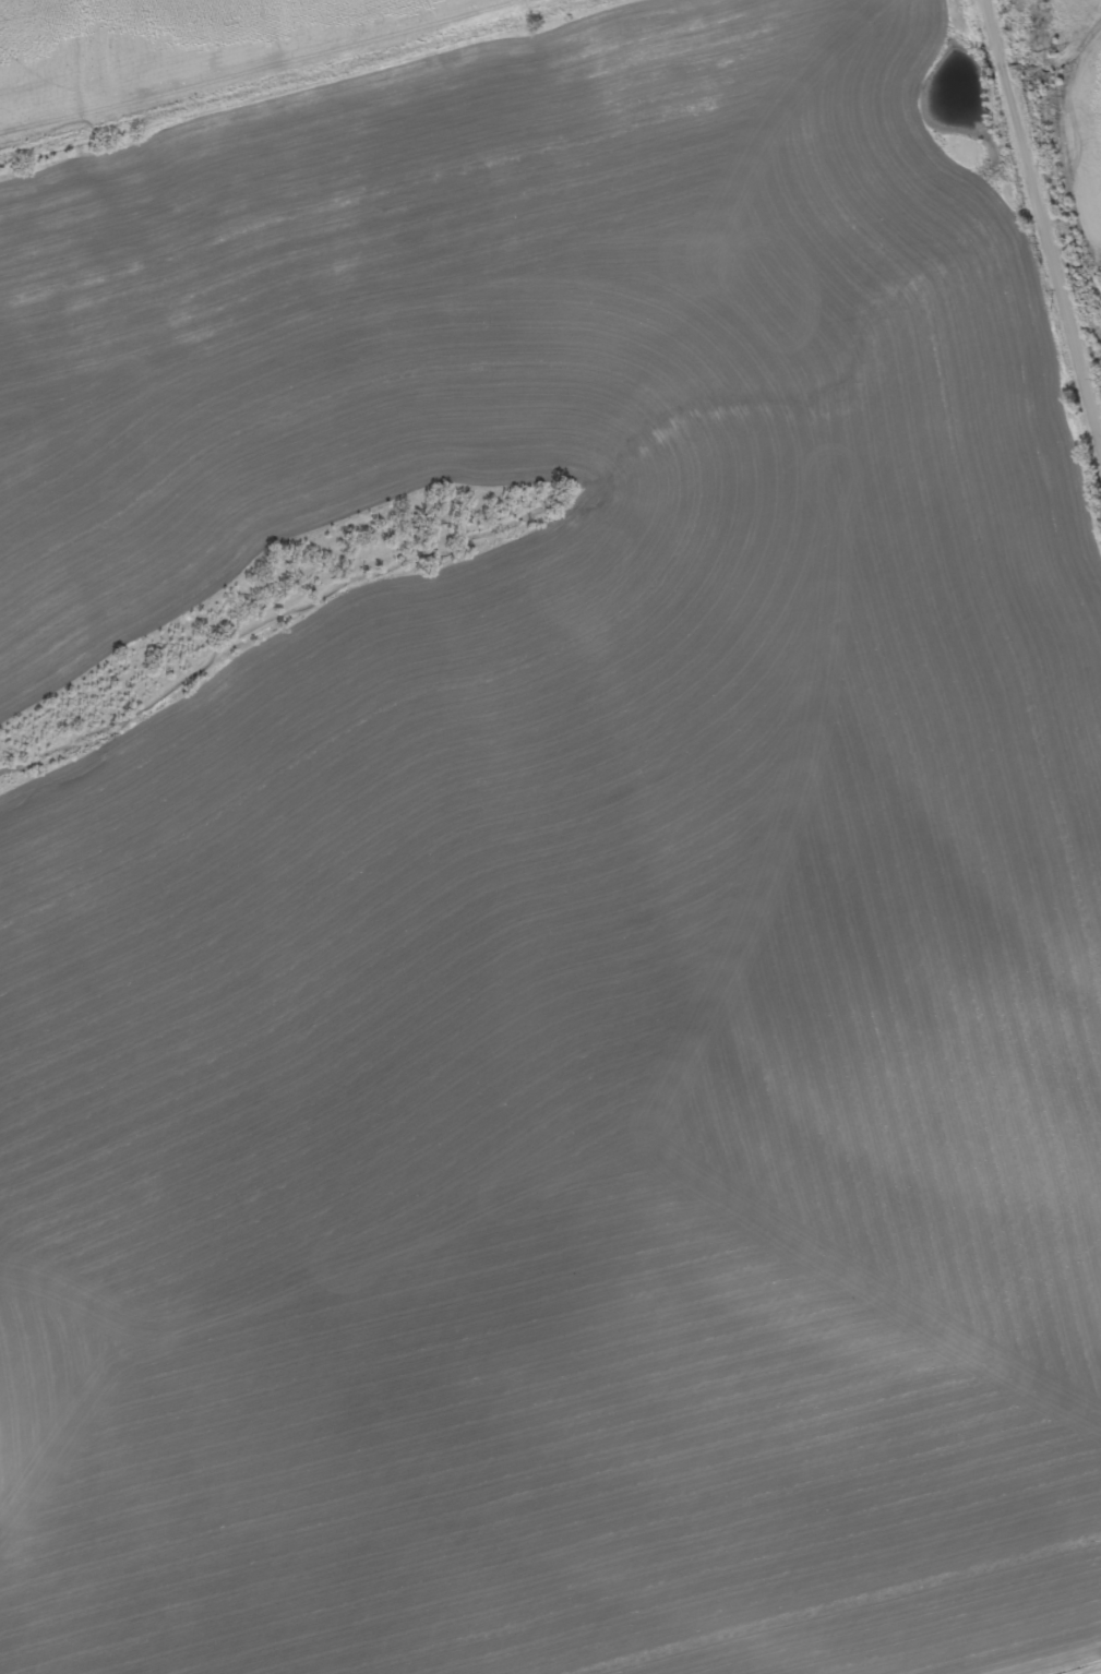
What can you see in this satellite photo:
road: (1048, 202)

